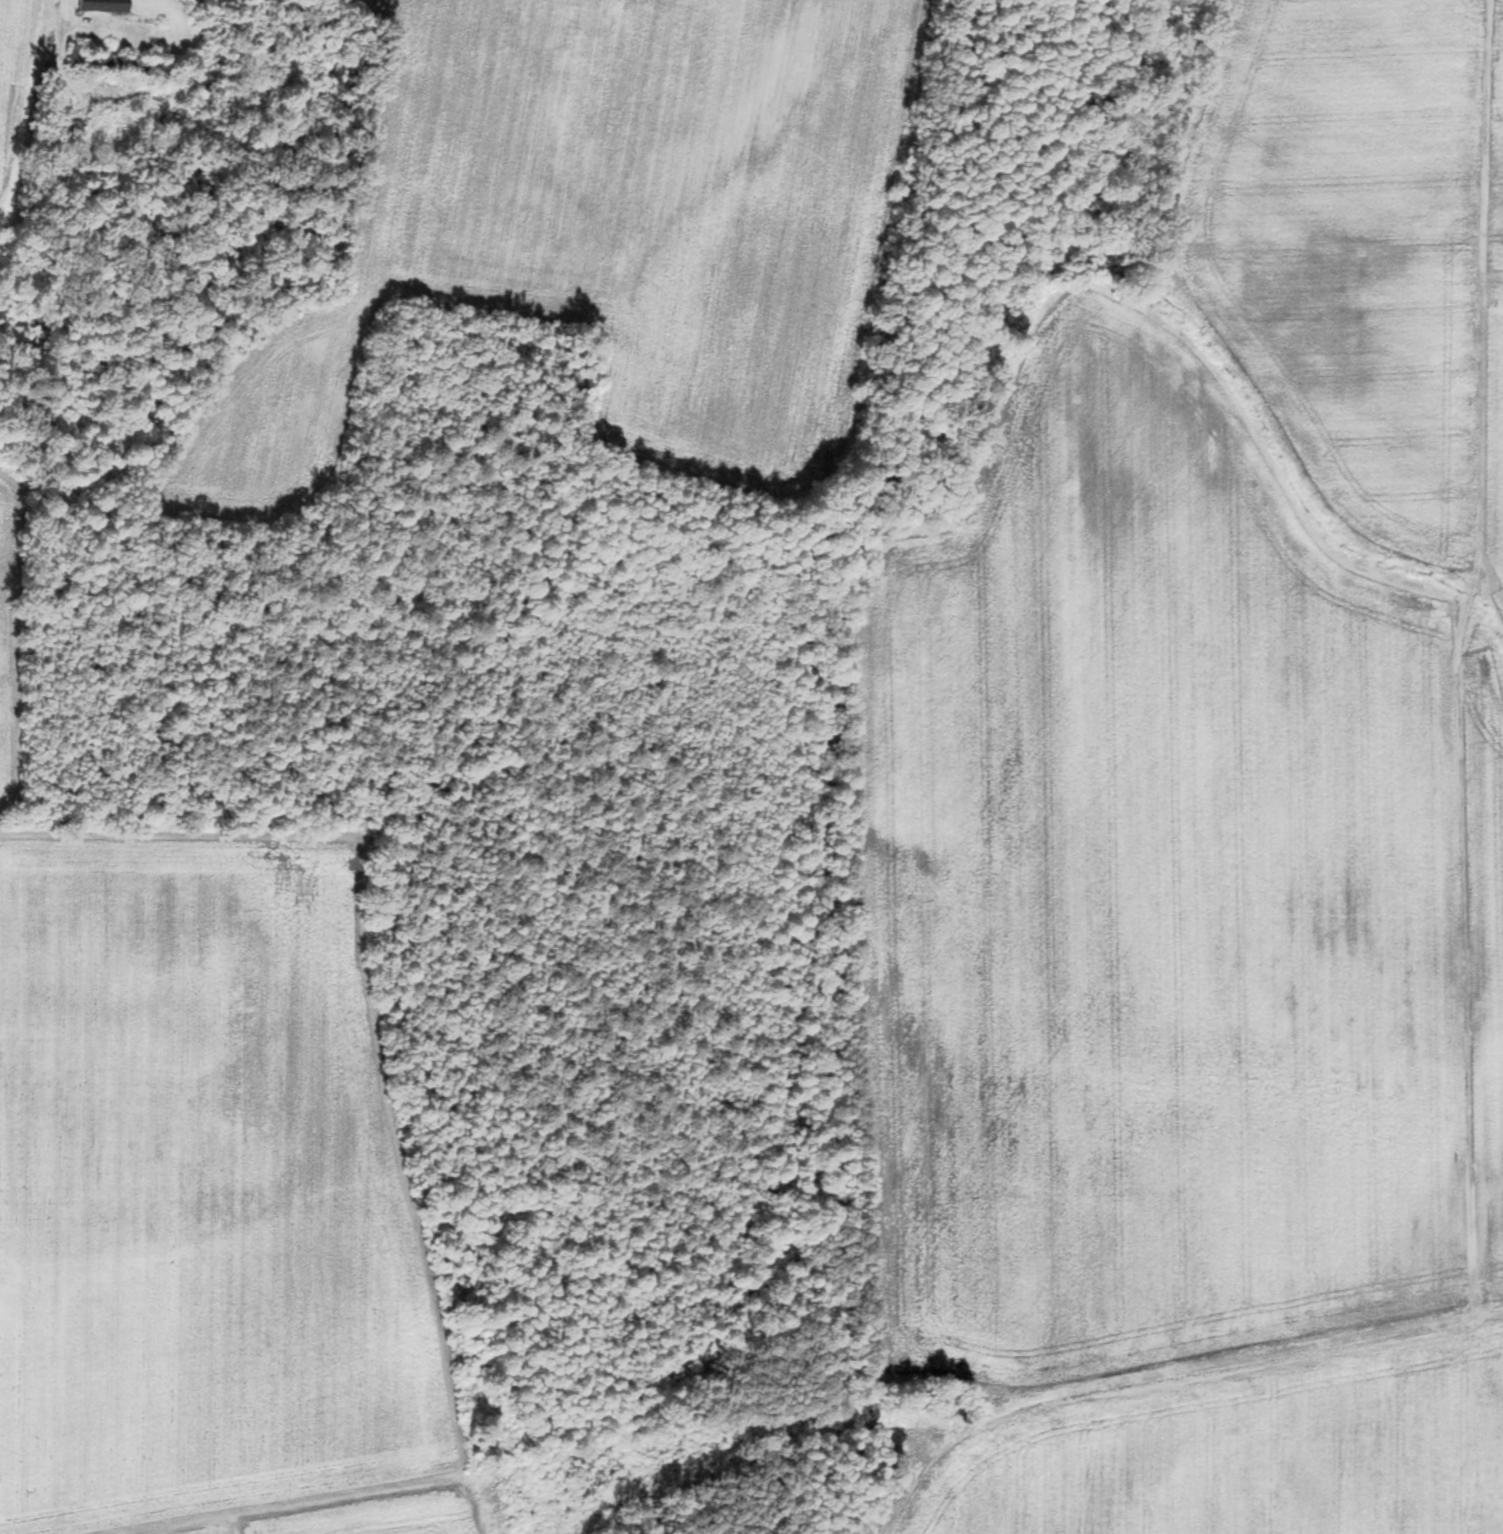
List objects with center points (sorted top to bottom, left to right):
road: (52, 1)
building: (105, 6)
building: (118, 64)
road: (380, 335)

